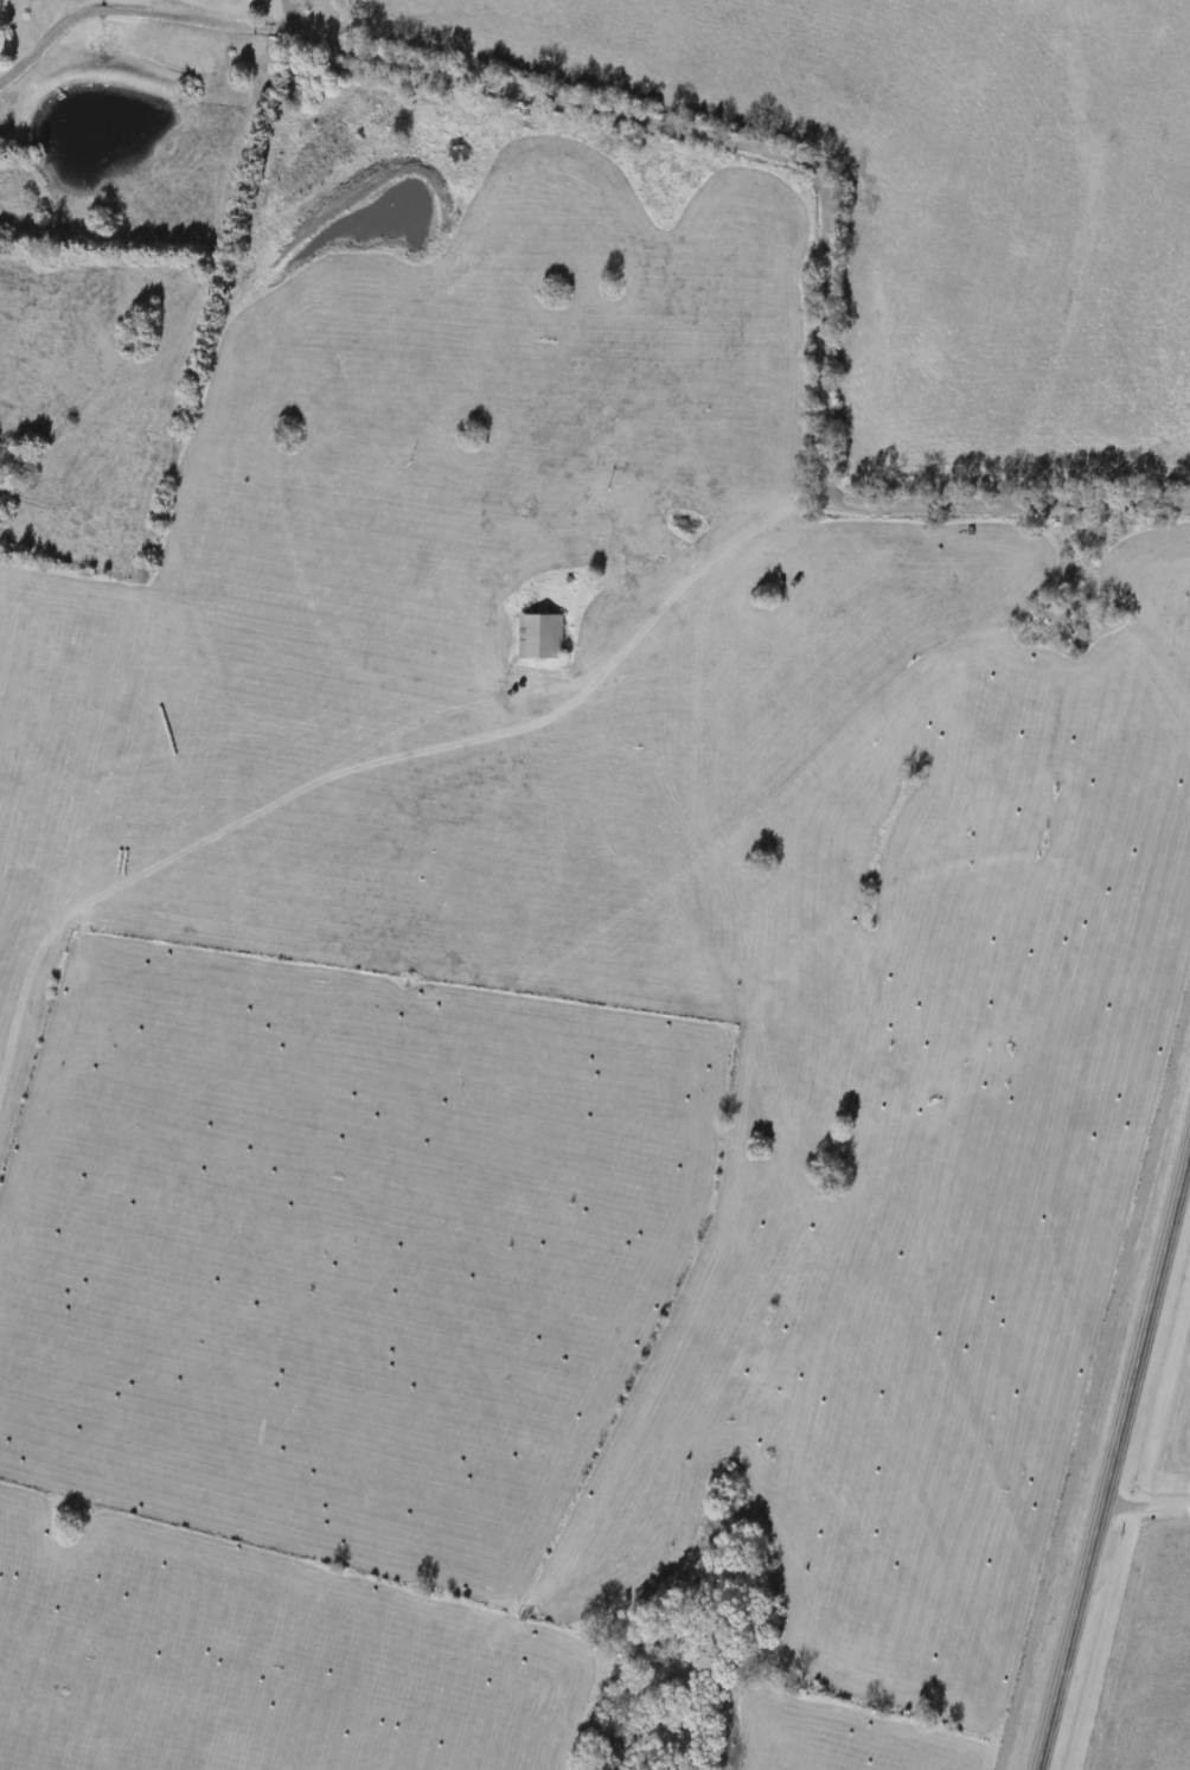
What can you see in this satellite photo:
building: (1, 9)
road: (134, 11)
road: (288, 13)
road: (826, 245)
building: (540, 635)
road: (1111, 1449)
road: (1144, 1503)

